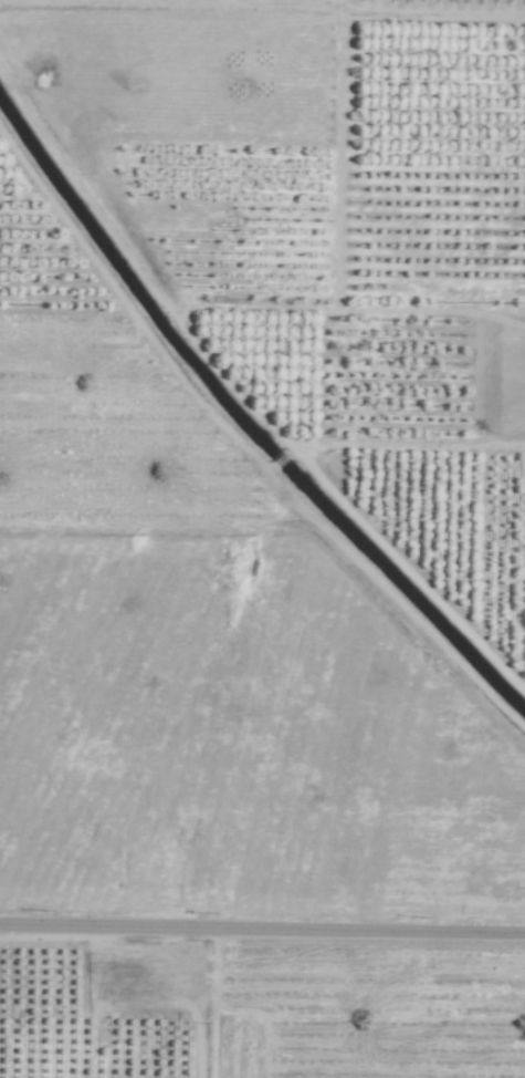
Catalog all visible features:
road: (262, 934)

